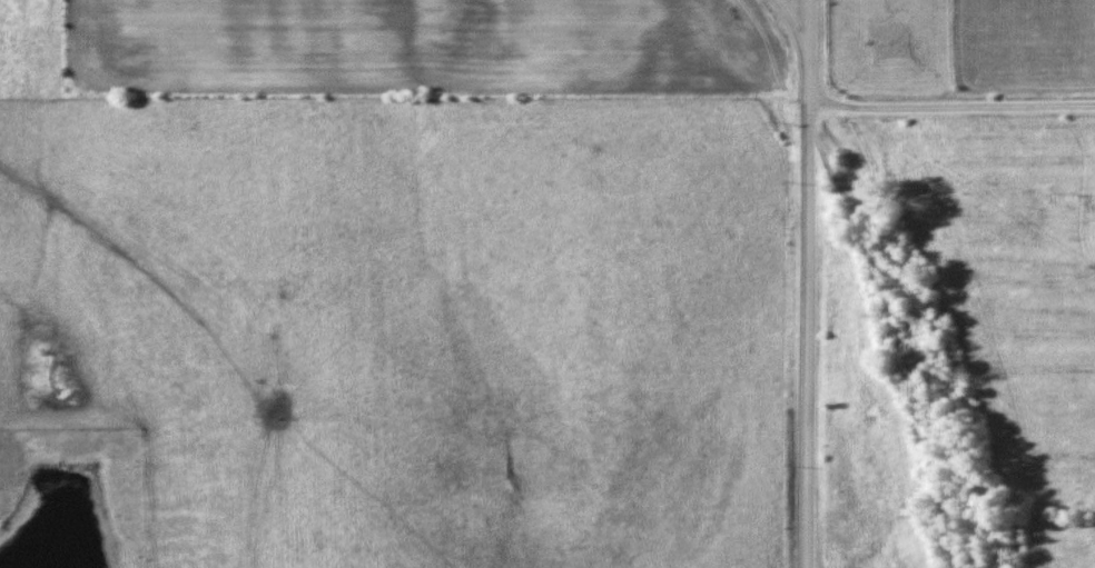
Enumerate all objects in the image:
road: (798, 14)
road: (810, 283)

